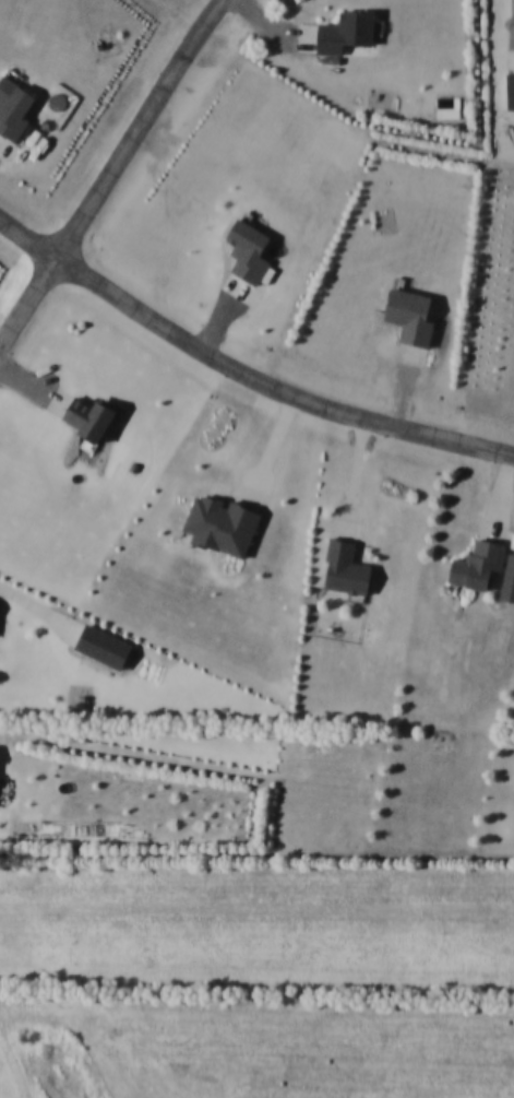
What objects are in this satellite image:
building: (342, 31)
building: (509, 88)
building: (12, 108)
road: (112, 176)
building: (244, 250)
building: (406, 315)
road: (240, 375)
building: (84, 417)
building: (474, 564)
building: (342, 568)
building: (506, 580)
road: (256, 864)

